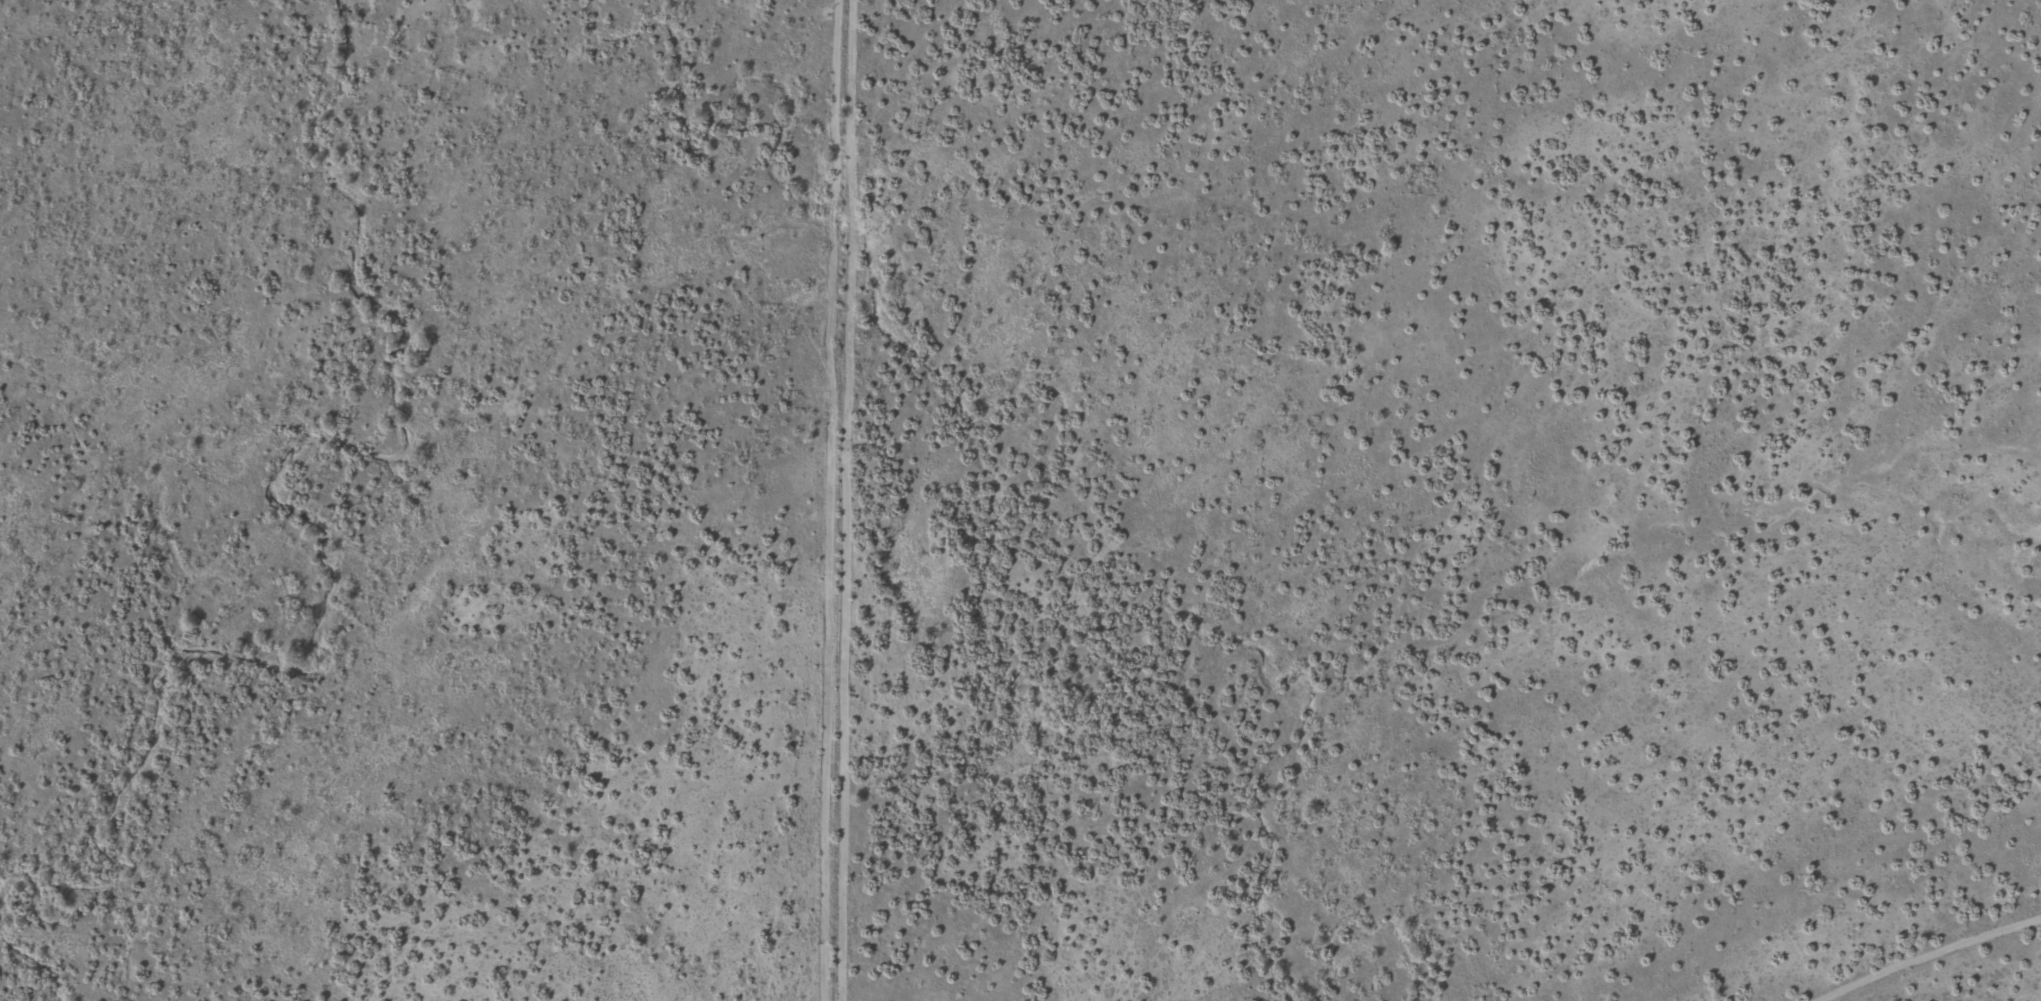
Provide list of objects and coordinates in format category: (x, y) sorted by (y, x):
road: (1964, 977)

